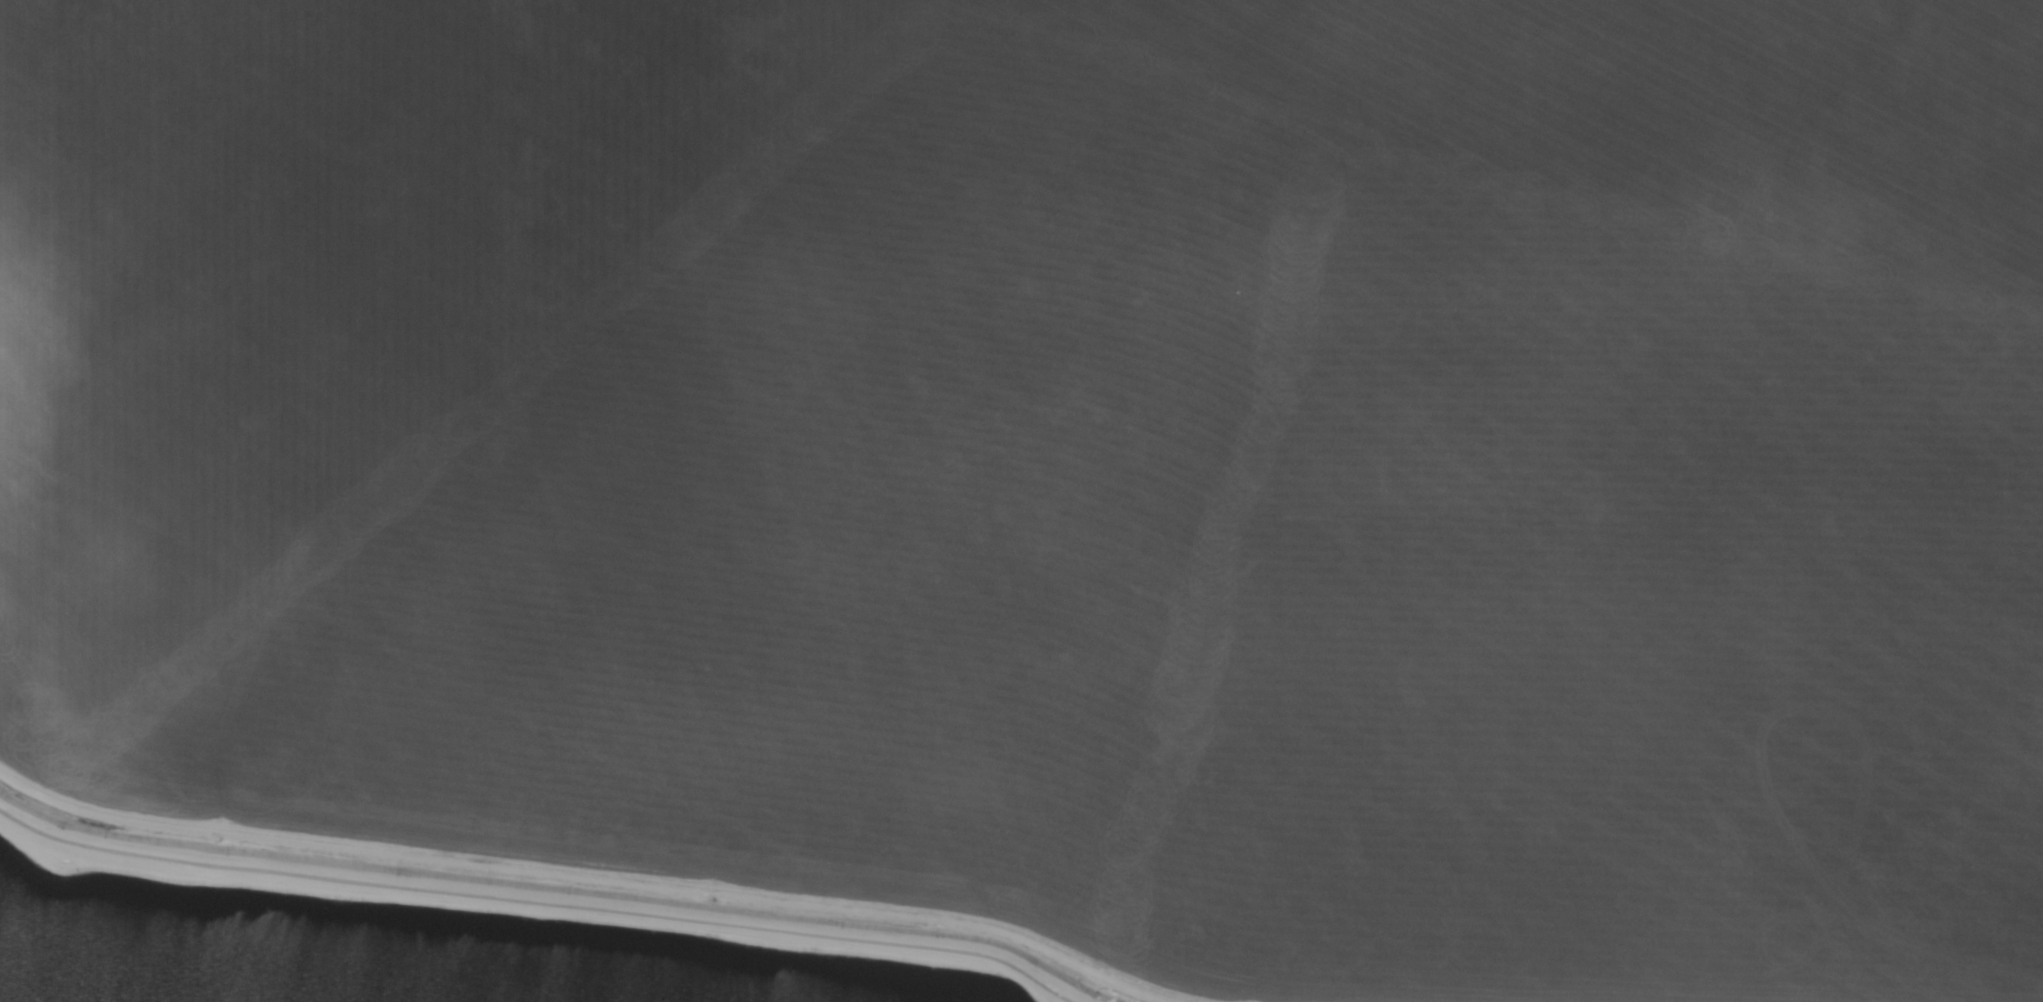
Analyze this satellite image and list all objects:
crop: (1071, 467)

